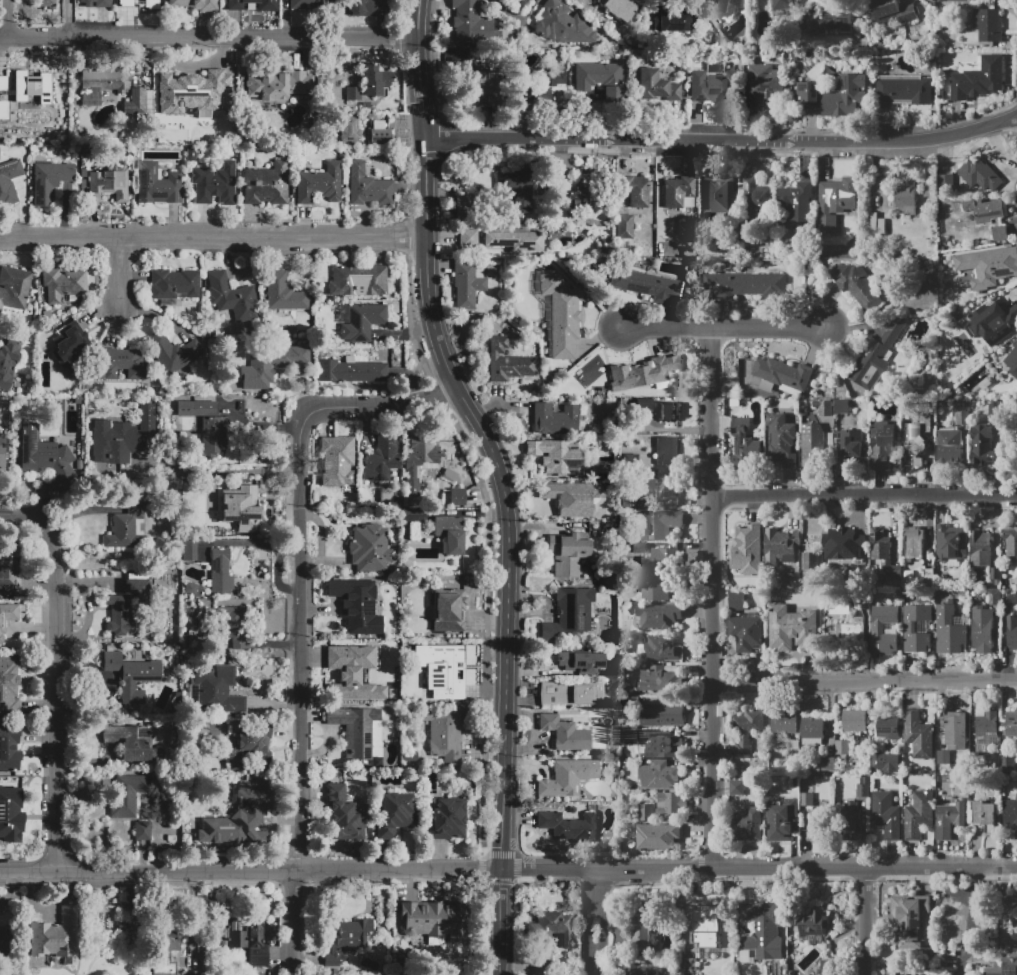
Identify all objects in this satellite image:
building: (960, 0)
building: (44, 3)
building: (150, 4)
building: (195, 4)
building: (102, 5)
building: (310, 5)
building: (720, 5)
building: (267, 6)
building: (782, 6)
building: (370, 7)
building: (620, 8)
building: (127, 9)
building: (892, 11)
road: (514, 16)
road: (6, 18)
building: (832, 19)
building: (674, 21)
building: (471, 22)
building: (563, 24)
building: (988, 24)
road: (208, 36)
building: (29, 78)
building: (978, 78)
building: (106, 79)
building: (599, 79)
building: (371, 80)
building: (204, 81)
building: (2, 82)
building: (714, 84)
building: (764, 84)
building: (277, 85)
building: (541, 85)
building: (656, 86)
building: (175, 88)
building: (485, 88)
building: (902, 90)
building: (353, 93)
building: (834, 95)
building: (10, 97)
building: (91, 99)
building: (135, 101)
building: (2, 109)
building: (208, 119)
building: (350, 129)
building: (380, 137)
road: (722, 141)
building: (979, 174)
building: (49, 180)
building: (9, 181)
building: (946, 182)
building: (109, 183)
building: (157, 184)
building: (214, 184)
building: (266, 184)
building: (319, 184)
building: (368, 187)
building: (516, 187)
building: (929, 189)
building: (571, 190)
building: (635, 190)
building: (677, 191)
building: (718, 195)
building: (837, 195)
building: (753, 198)
building: (907, 198)
building: (796, 203)
building: (463, 204)
building: (985, 210)
building: (827, 225)
building: (624, 227)
building: (882, 227)
building: (1000, 233)
building: (468, 238)
building: (513, 240)
road: (213, 244)
building: (989, 266)
road: (118, 276)
building: (358, 280)
building: (466, 283)
building: (641, 283)
building: (63, 284)
building: (174, 284)
building: (744, 284)
building: (857, 285)
building: (14, 286)
building: (283, 293)
building: (231, 297)
building: (560, 314)
building: (993, 320)
building: (362, 322)
road: (724, 327)
building: (70, 348)
building: (173, 352)
building: (874, 357)
building: (1011, 357)
building: (8, 361)
building: (508, 361)
building: (123, 364)
building: (270, 365)
building: (351, 371)
building: (641, 375)
building: (783, 375)
building: (766, 386)
building: (641, 404)
building: (841, 406)
building: (823, 407)
building: (994, 407)
building: (196, 408)
building: (669, 412)
building: (962, 412)
building: (145, 416)
building: (554, 419)
building: (918, 433)
building: (213, 436)
building: (781, 440)
building: (115, 442)
building: (743, 442)
building: (813, 442)
building: (982, 444)
building: (852, 446)
building: (882, 446)
building: (949, 447)
building: (665, 449)
building: (1, 452)
building: (43, 454)
building: (556, 455)
building: (381, 458)
building: (418, 460)
building: (337, 461)
building: (630, 461)
building: (918, 462)
road: (225, 472)
building: (606, 473)
road: (501, 479)
building: (661, 488)
road: (863, 494)
building: (457, 497)
building: (573, 497)
building: (626, 502)
building: (240, 507)
building: (408, 512)
building: (659, 524)
building: (126, 527)
building: (450, 533)
building: (1010, 539)
building: (913, 542)
building: (950, 542)
building: (842, 544)
building: (780, 545)
building: (744, 546)
building: (366, 548)
building: (980, 548)
building: (189, 551)
building: (568, 553)
building: (884, 554)
building: (666, 557)
building: (809, 564)
building: (9, 570)
building: (220, 571)
building: (994, 573)
building: (929, 574)
building: (790, 581)
building: (1016, 582)
building: (654, 586)
building: (191, 588)
road: (710, 596)
building: (995, 597)
building: (1016, 598)
building: (736, 601)
building: (126, 605)
building: (350, 605)
building: (448, 609)
road: (298, 611)
building: (569, 615)
building: (658, 616)
building: (7, 618)
building: (237, 626)
building: (910, 627)
building: (792, 629)
building: (878, 629)
building: (982, 630)
building: (850, 631)
building: (949, 631)
building: (1012, 631)
building: (747, 634)
building: (390, 642)
building: (660, 648)
building: (112, 661)
building: (580, 661)
building: (443, 669)
building: (351, 672)
road: (53, 676)
building: (381, 677)
road: (863, 678)
building: (138, 679)
building: (661, 679)
building: (9, 686)
building: (214, 691)
building: (566, 694)
building: (660, 715)
building: (854, 720)
building: (986, 720)
building: (783, 722)
building: (1011, 724)
building: (812, 727)
building: (889, 727)
building: (355, 729)
building: (746, 729)
building: (954, 730)
building: (445, 732)
building: (567, 732)
building: (917, 737)
building: (984, 738)
building: (134, 743)
building: (249, 745)
building: (792, 745)
building: (667, 747)
building: (842, 747)
building: (9, 748)
building: (979, 748)
building: (943, 757)
building: (884, 762)
building: (828, 763)
building: (660, 775)
building: (567, 777)
building: (736, 786)
building: (4, 787)
building: (863, 790)
building: (126, 794)
building: (806, 799)
building: (672, 803)
building: (646, 812)
building: (5, 813)
building: (394, 814)
building: (886, 814)
building: (918, 814)
building: (1010, 814)
building: (342, 815)
building: (985, 815)
building: (240, 818)
building: (448, 819)
building: (949, 819)
building: (782, 820)
building: (849, 821)
building: (568, 825)
building: (745, 825)
building: (143, 831)
building: (657, 836)
road: (806, 869)
road: (298, 870)
road: (596, 890)
road: (1002, 912)
building: (430, 917)
building: (909, 918)
building: (811, 923)
road: (863, 923)
building: (553, 926)
building: (706, 926)
building: (640, 927)
building: (762, 929)
road: (591, 930)
road: (601, 933)
building: (57, 937)
building: (241, 938)
building: (348, 940)
building: (5, 941)
building: (164, 952)
building: (976, 954)
building: (543, 959)
road: (590, 962)
building: (830, 967)
building: (1002, 967)
building: (640, 969)
building: (192, 973)
building: (906, 973)

